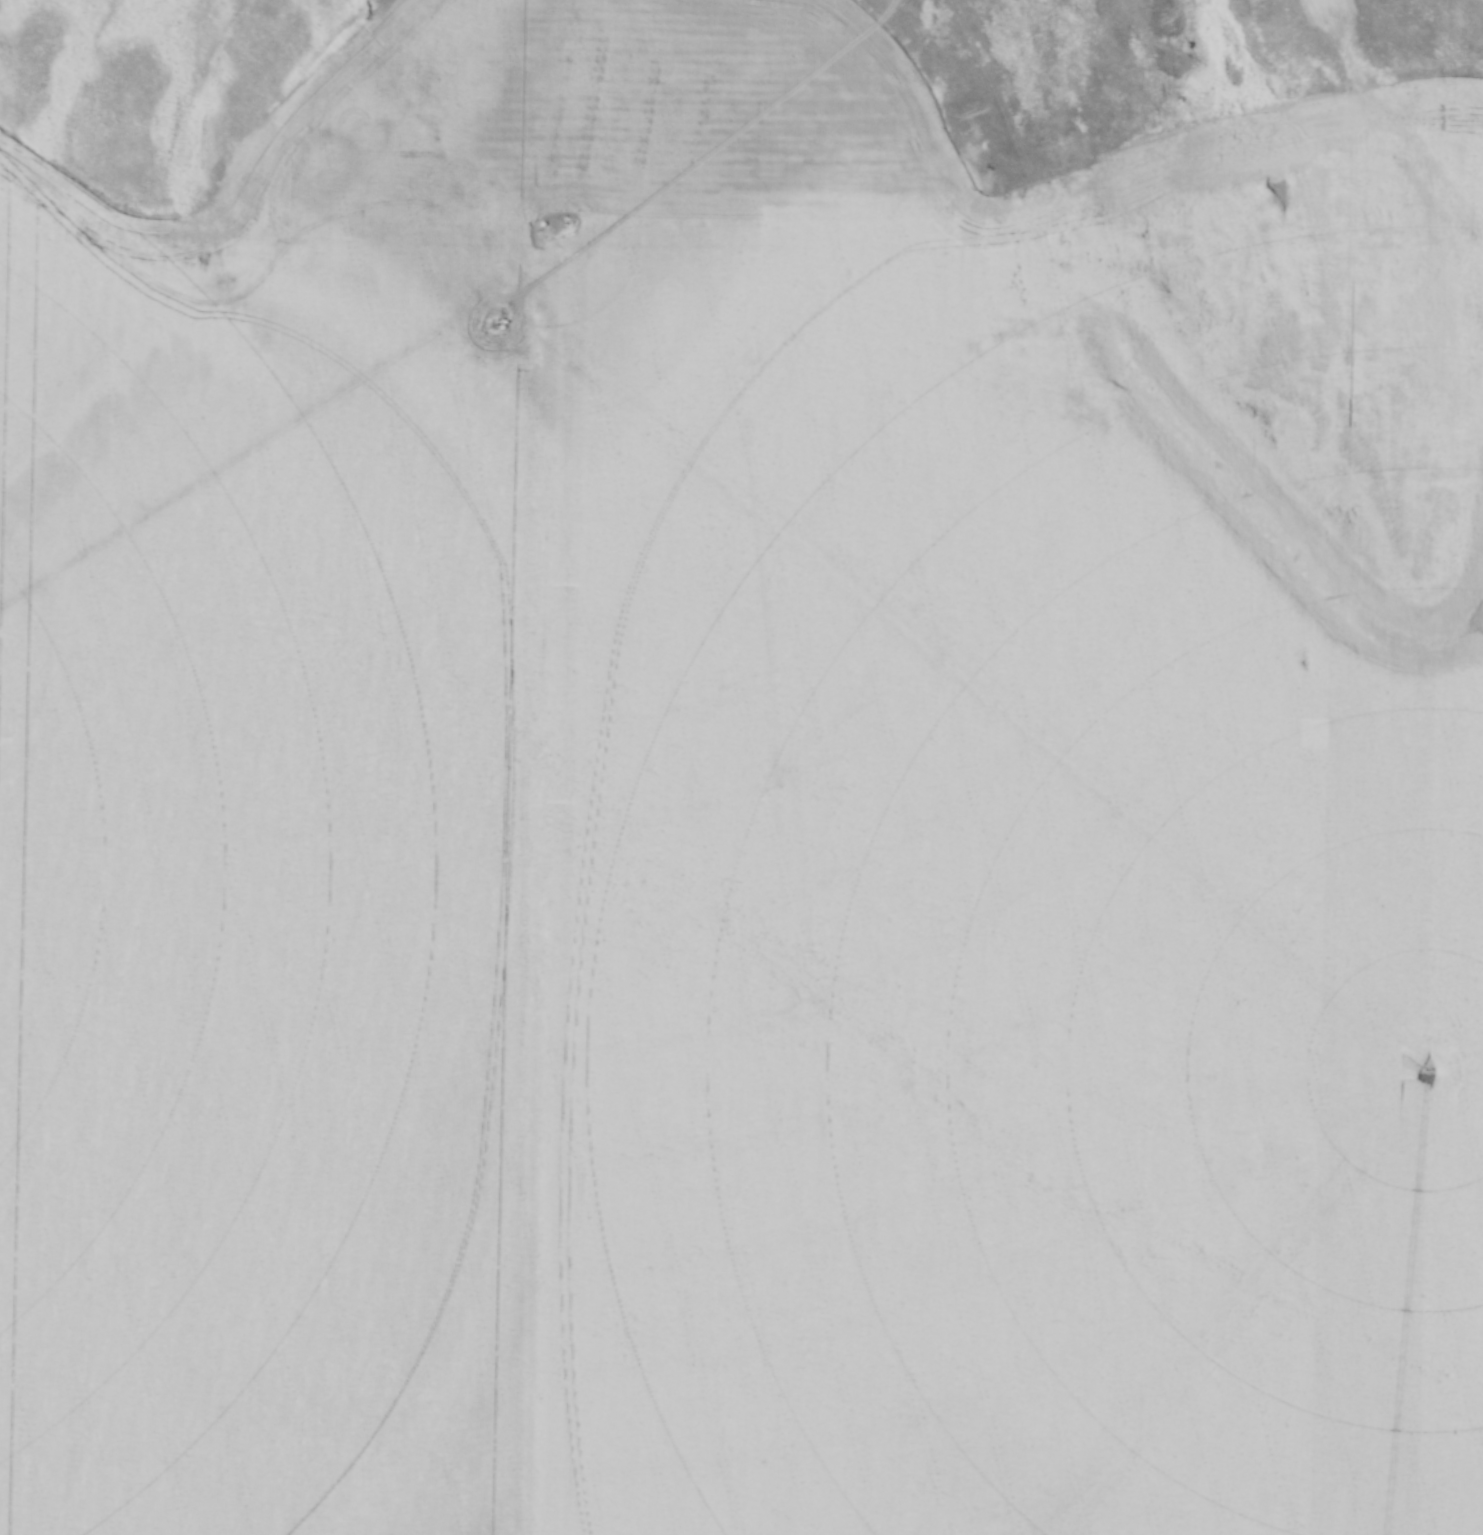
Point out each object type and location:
road: (1480, 265)
building: (1065, 327)
road: (1309, 477)

